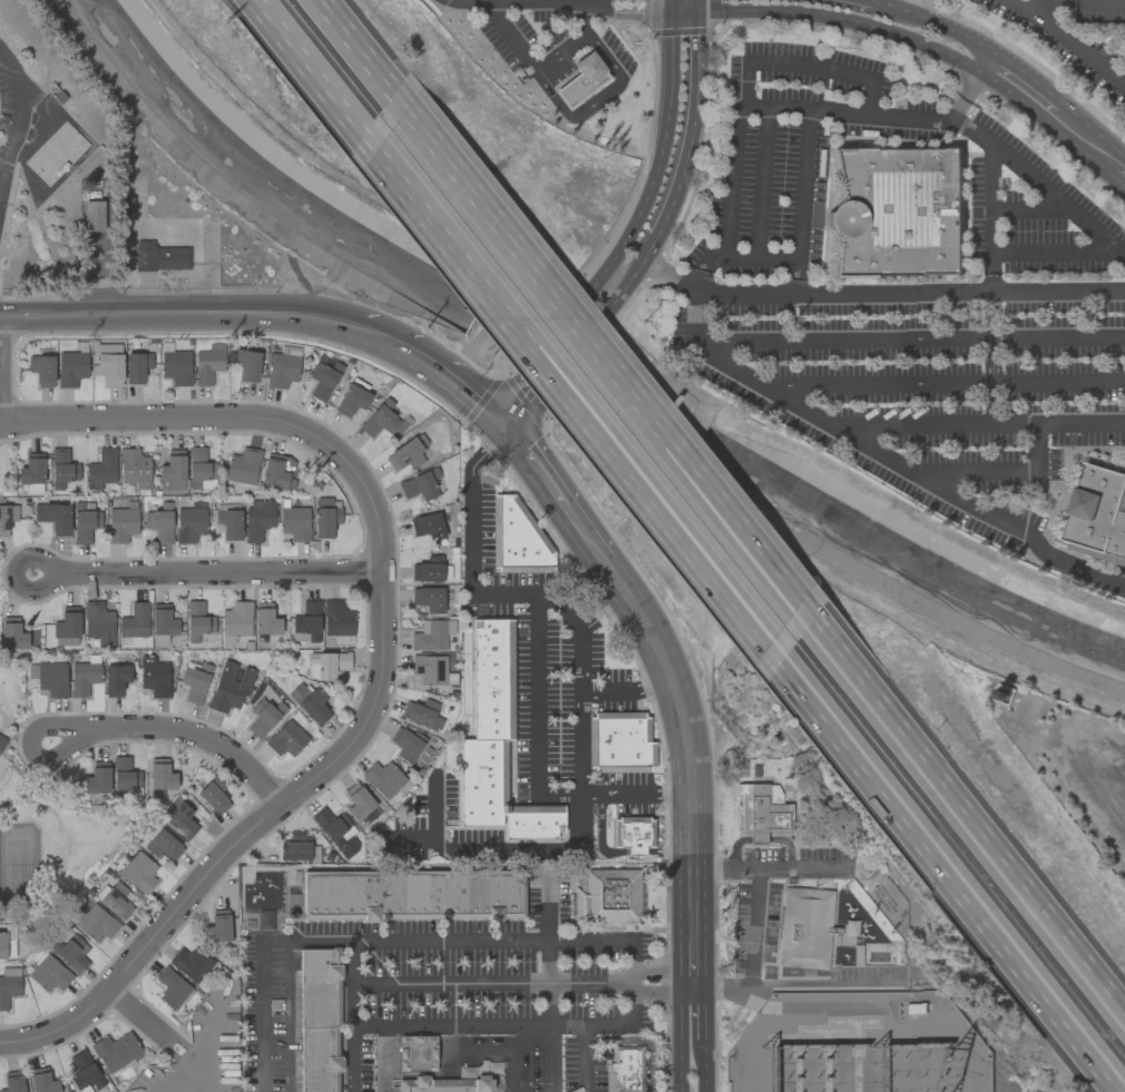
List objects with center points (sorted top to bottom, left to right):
traffic signals: (671, 0)
traffic signals: (697, 0)
road: (814, 1)
road: (884, 8)
road: (918, 28)
road: (1072, 41)
road: (353, 49)
road: (302, 61)
road: (804, 65)
building: (581, 80)
road: (20, 105)
road: (786, 110)
road: (579, 116)
road: (692, 121)
road: (659, 155)
road: (2, 163)
road: (2, 174)
building: (126, 207)
building: (899, 210)
building: (92, 215)
road: (802, 226)
road: (1097, 232)
building: (159, 256)
road: (630, 276)
road: (721, 292)
road: (897, 294)
road: (1057, 294)
road: (695, 315)
road: (989, 317)
road: (182, 323)
road: (911, 341)
building: (109, 363)
building: (208, 363)
building: (246, 364)
building: (71, 366)
building: (136, 366)
building: (176, 367)
building: (41, 370)
building: (282, 370)
road: (437, 370)
building: (323, 376)
road: (615, 382)
road: (941, 386)
building: (353, 399)
road: (510, 401)
road: (569, 402)
road: (521, 412)
road: (806, 414)
building: (381, 421)
traffic signals: (506, 422)
building: (407, 453)
road: (539, 463)
building: (101, 466)
building: (243, 466)
building: (134, 469)
building: (199, 469)
building: (62, 470)
building: (172, 471)
building: (276, 471)
building: (31, 473)
building: (420, 485)
building: (1098, 515)
building: (325, 517)
building: (7, 518)
building: (53, 518)
building: (257, 519)
building: (84, 521)
building: (121, 522)
building: (159, 522)
building: (189, 522)
building: (294, 522)
building: (231, 524)
building: (427, 525)
building: (513, 531)
road: (589, 531)
road: (1023, 532)
building: (428, 570)
road: (52, 572)
road: (217, 572)
building: (428, 599)
building: (265, 619)
building: (163, 620)
building: (135, 621)
building: (197, 621)
building: (336, 621)
building: (235, 622)
building: (306, 622)
building: (67, 623)
building: (98, 623)
road: (578, 624)
building: (12, 633)
building: (431, 634)
road: (538, 650)
road: (379, 659)
building: (326, 665)
building: (429, 669)
building: (154, 677)
building: (49, 678)
building: (82, 678)
building: (115, 680)
building: (194, 681)
building: (229, 686)
building: (310, 702)
building: (420, 712)
building: (264, 717)
road: (580, 725)
road: (187, 731)
road: (68, 734)
building: (285, 739)
building: (1, 740)
building: (495, 742)
building: (619, 742)
building: (405, 744)
road: (689, 759)
road: (1077, 765)
building: (160, 777)
building: (97, 778)
building: (125, 779)
building: (382, 779)
building: (214, 797)
building: (358, 801)
building: (762, 811)
building: (178, 818)
road: (1124, 829)
building: (336, 833)
road: (599, 834)
building: (630, 835)
road: (984, 843)
building: (163, 846)
building: (300, 848)
road: (635, 853)
road: (667, 853)
road: (532, 854)
park: (23, 864)
building: (138, 870)
road: (951, 886)
building: (412, 895)
building: (607, 897)
building: (115, 901)
building: (92, 922)
road: (756, 925)
building: (217, 926)
building: (803, 927)
road: (391, 938)
building: (7, 942)
building: (70, 951)
building: (188, 963)
building: (48, 974)
road: (662, 980)
road: (546, 982)
building: (8, 985)
building: (170, 987)
road: (701, 1011)
road: (144, 1019)
road: (594, 1022)
road: (423, 1023)
road: (678, 1034)
road: (765, 1034)
power substation: (857, 1045)
building: (116, 1051)
building: (417, 1053)
road: (351, 1059)
building: (625, 1069)
road: (702, 1069)
building: (84, 1073)
building: (41, 1081)
building: (12, 1082)
building: (443, 1084)

